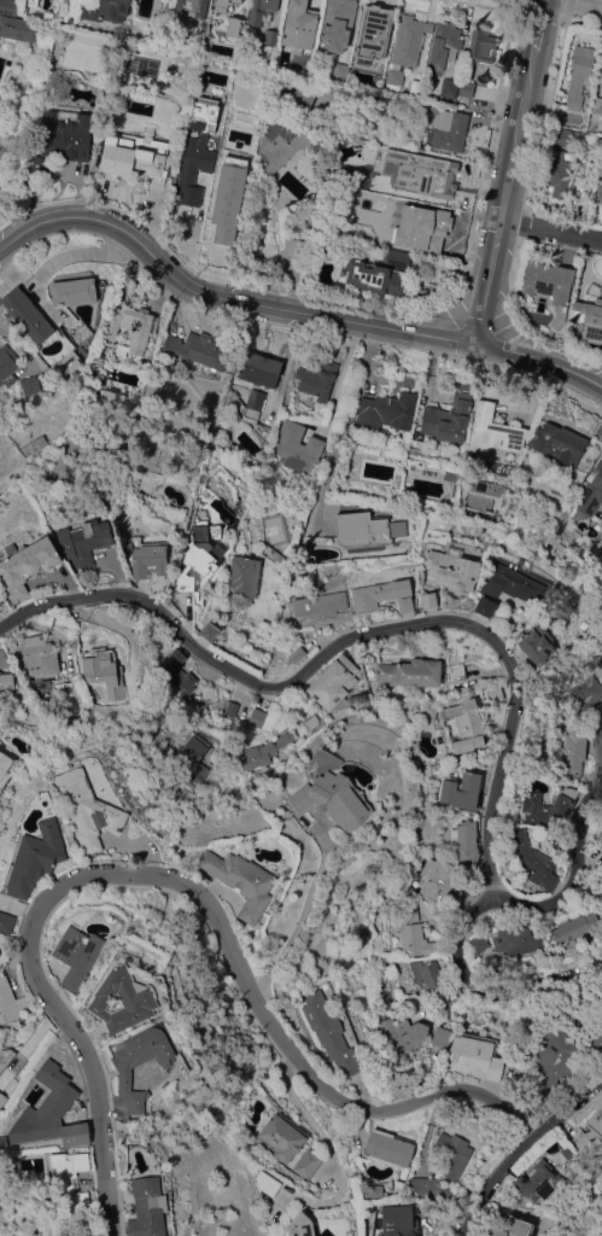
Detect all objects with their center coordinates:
building: (30, 2)
building: (224, 2)
road: (583, 4)
building: (8, 6)
building: (191, 7)
building: (105, 10)
building: (259, 10)
building: (337, 24)
building: (299, 25)
building: (234, 27)
building: (18, 28)
building: (374, 31)
building: (270, 37)
building: (409, 40)
building: (483, 46)
building: (444, 47)
building: (265, 49)
building: (340, 71)
building: (579, 74)
building: (394, 77)
building: (601, 77)
building: (415, 87)
building: (449, 87)
building: (467, 88)
building: (339, 89)
building: (303, 95)
building: (596, 105)
building: (392, 107)
building: (450, 129)
building: (566, 135)
building: (63, 140)
building: (281, 142)
building: (141, 159)
building: (103, 163)
building: (193, 163)
road: (508, 170)
building: (601, 170)
building: (420, 173)
building: (557, 174)
building: (598, 193)
building: (229, 203)
building: (431, 223)
road: (550, 231)
building: (391, 238)
building: (293, 246)
building: (228, 251)
building: (392, 257)
building: (374, 278)
building: (550, 286)
building: (72, 287)
road: (287, 309)
building: (27, 315)
building: (589, 319)
building: (128, 327)
building: (78, 331)
building: (199, 349)
building: (70, 361)
building: (7, 365)
building: (261, 369)
road: (339, 377)
building: (317, 379)
building: (83, 383)
building: (29, 385)
building: (111, 402)
building: (255, 403)
building: (384, 410)
building: (446, 420)
building: (492, 430)
building: (598, 430)
building: (557, 442)
building: (297, 447)
building: (591, 495)
building: (366, 530)
building: (84, 541)
building: (308, 547)
building: (199, 555)
building: (147, 556)
building: (522, 562)
building: (24, 565)
building: (452, 569)
building: (244, 576)
building: (512, 584)
building: (183, 593)
building: (382, 595)
building: (0, 600)
building: (428, 600)
building: (320, 604)
building: (485, 606)
building: (291, 623)
road: (123, 628)
building: (209, 631)
road: (355, 639)
building: (534, 645)
building: (297, 654)
building: (37, 655)
building: (2, 657)
building: (601, 657)
building: (601, 669)
building: (104, 671)
building: (456, 671)
building: (176, 672)
building: (410, 672)
building: (6, 681)
building: (566, 681)
building: (334, 682)
building: (42, 689)
building: (66, 694)
building: (493, 694)
building: (584, 696)
building: (230, 707)
building: (257, 717)
building: (466, 724)
road: (597, 737)
building: (574, 750)
building: (264, 751)
building: (195, 758)
building: (5, 763)
building: (461, 789)
building: (332, 792)
building: (545, 808)
building: (86, 809)
building: (600, 841)
building: (464, 843)
building: (36, 858)
building: (533, 858)
road: (175, 880)
road: (572, 880)
building: (241, 881)
building: (439, 882)
building: (6, 922)
road: (296, 925)
building: (575, 927)
building: (410, 932)
building: (515, 940)
building: (478, 943)
building: (77, 955)
building: (601, 955)
building: (432, 980)
road: (491, 991)
building: (122, 999)
building: (10, 1001)
building: (332, 1032)
building: (402, 1037)
building: (442, 1037)
building: (596, 1039)
building: (5, 1055)
building: (474, 1056)
building: (555, 1061)
building: (146, 1068)
building: (2, 1097)
building: (51, 1110)
building: (594, 1125)
building: (282, 1135)
building: (4, 1142)
road: (326, 1143)
road: (521, 1147)
building: (388, 1150)
building: (454, 1153)
building: (306, 1162)
building: (536, 1180)
building: (267, 1183)
building: (427, 1185)
building: (69, 1188)
building: (373, 1191)
building: (147, 1207)
building: (398, 1220)
building: (300, 1225)
building: (512, 1228)

